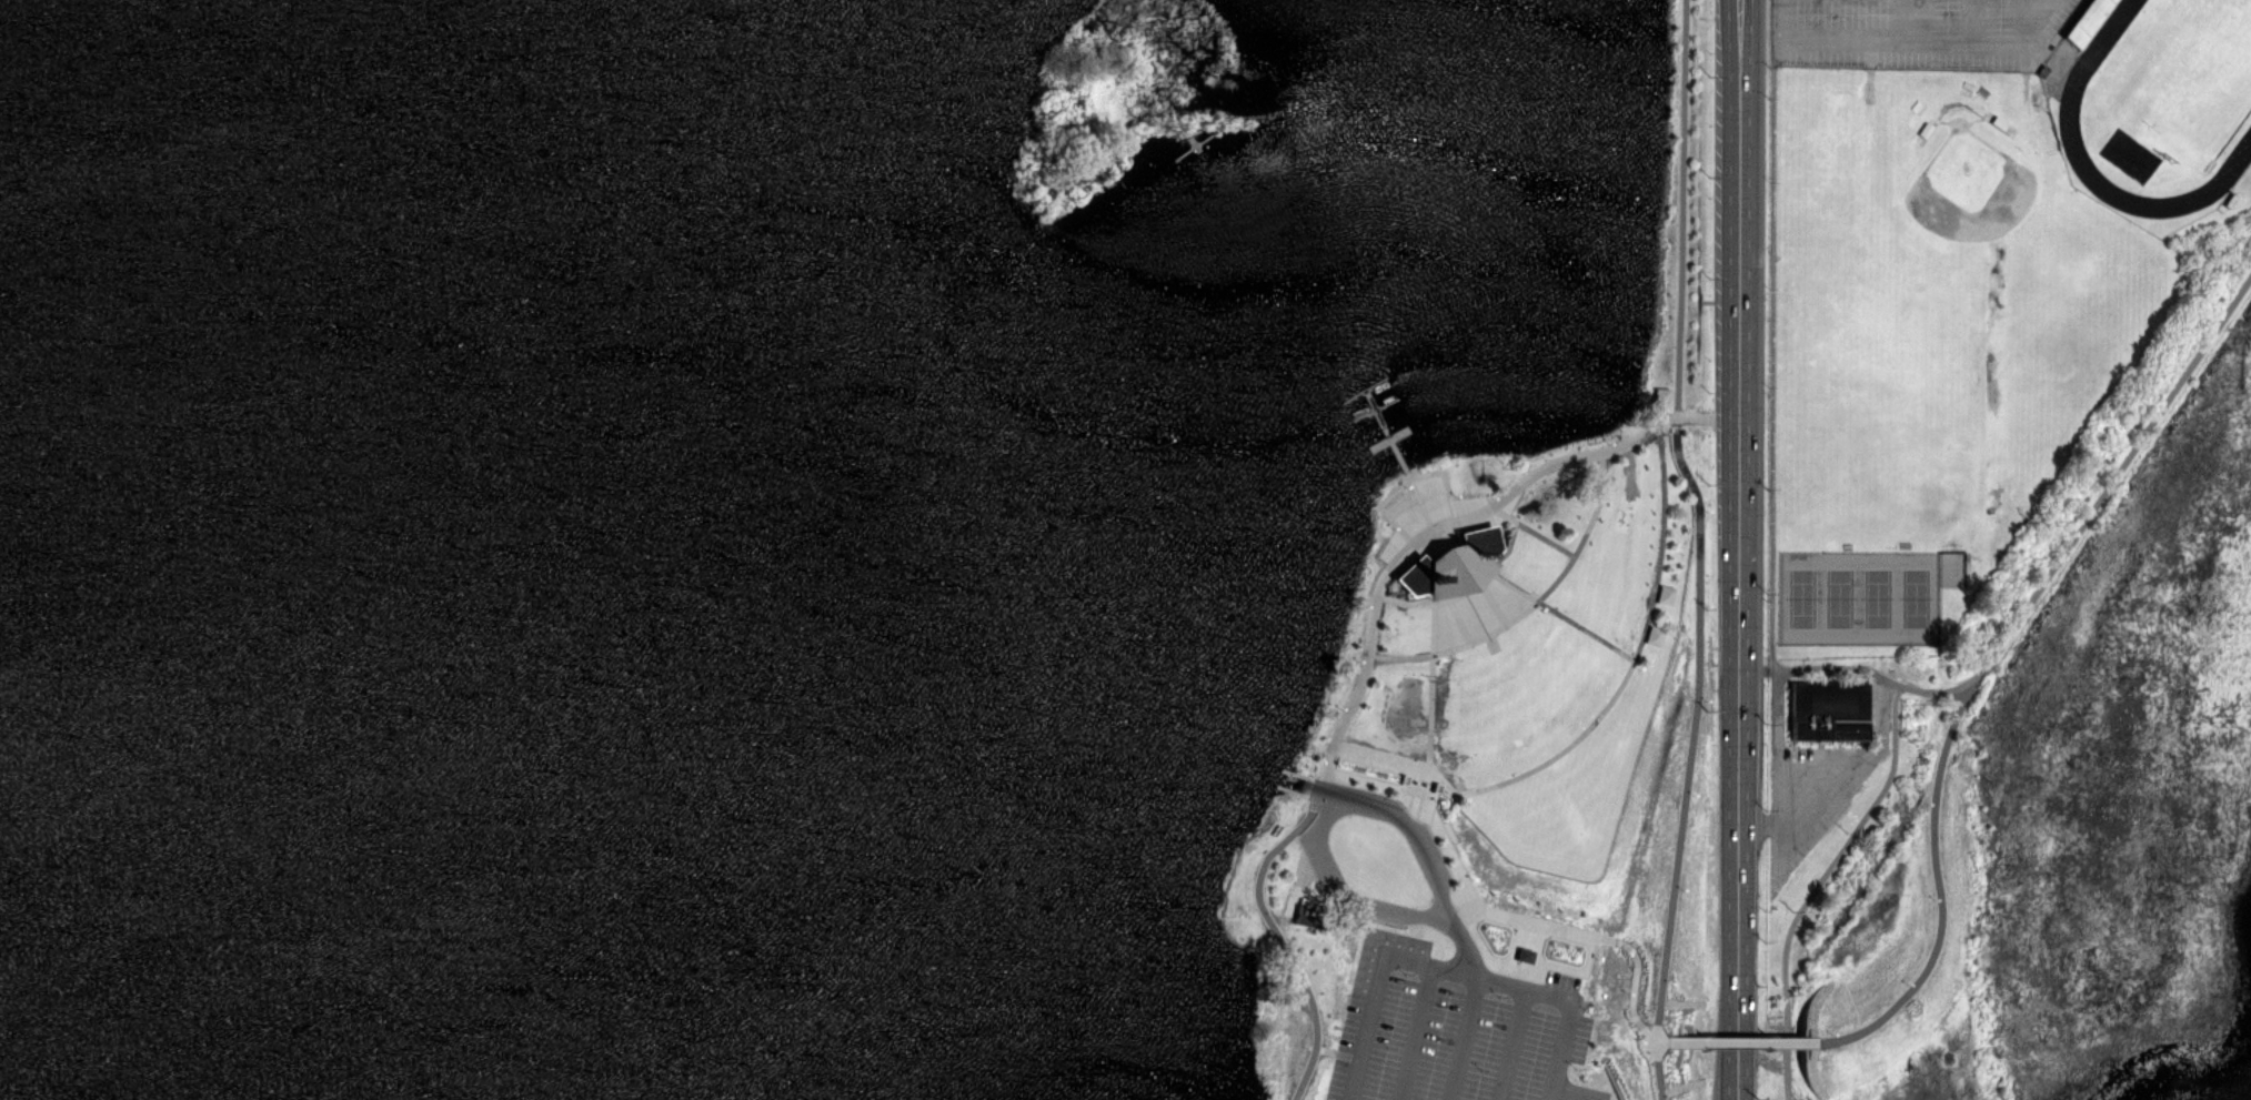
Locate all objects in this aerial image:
parking lot: (1918, 32)
park: (2189, 71)
track: (2070, 108)
park: (1970, 189)
road: (1679, 209)
park: (1988, 309)
building: (1661, 396)
road: (1707, 417)
road: (2116, 477)
road: (1433, 529)
road: (1660, 541)
road: (1739, 549)
building: (1450, 561)
building: (1664, 594)
park: (1860, 597)
building: (1652, 636)
road: (1867, 668)
road: (1968, 684)
building: (1828, 712)
road: (1691, 727)
park: (1517, 749)
road: (1550, 759)
road: (1374, 780)
road: (1818, 885)
road: (1937, 896)
road: (1481, 907)
building: (1306, 916)
road: (1272, 929)
road: (1630, 988)
road: (1644, 1031)
road: (1657, 1040)
road: (1739, 1041)
road: (1651, 1069)

